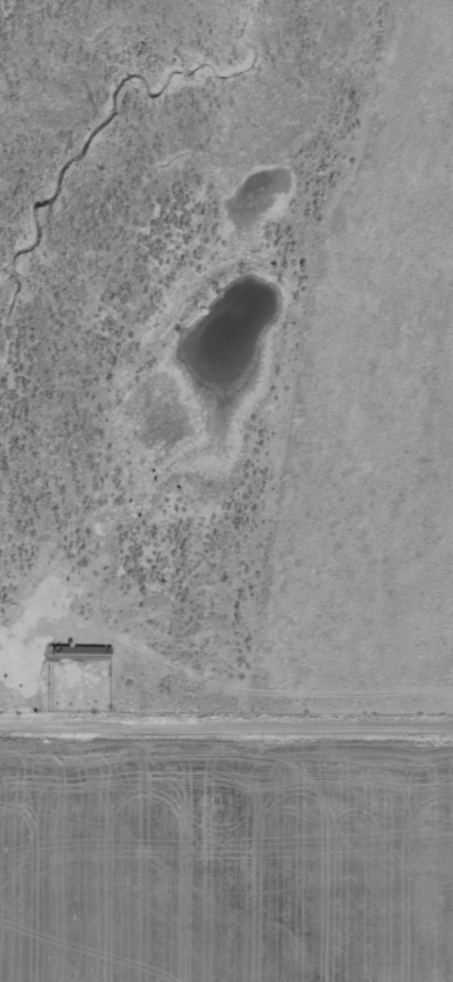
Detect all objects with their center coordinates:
road: (226, 724)

